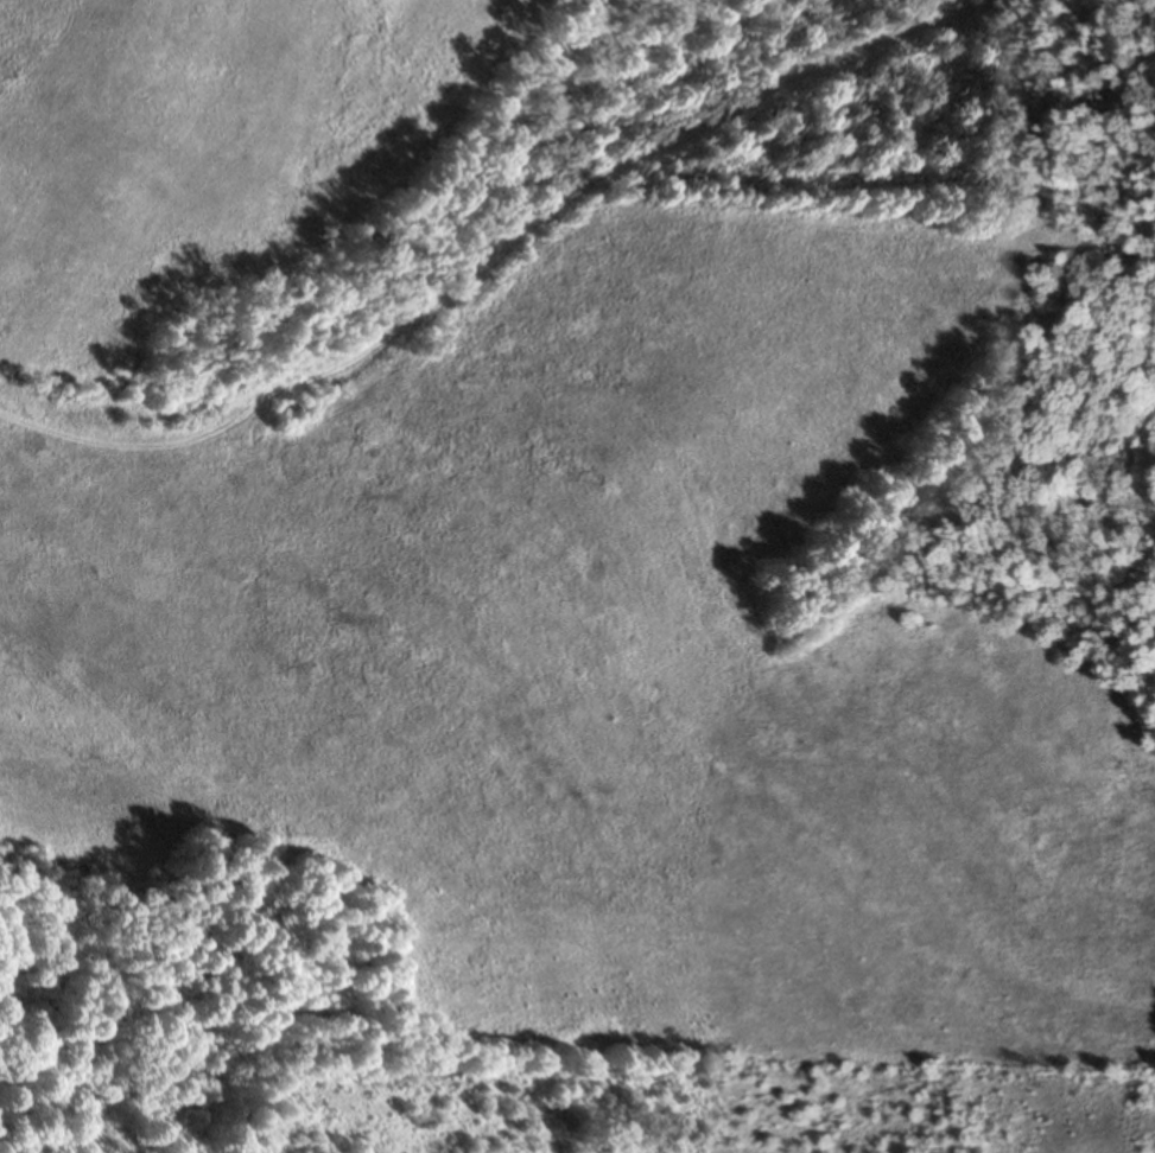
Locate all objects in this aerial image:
road: (516, 235)

